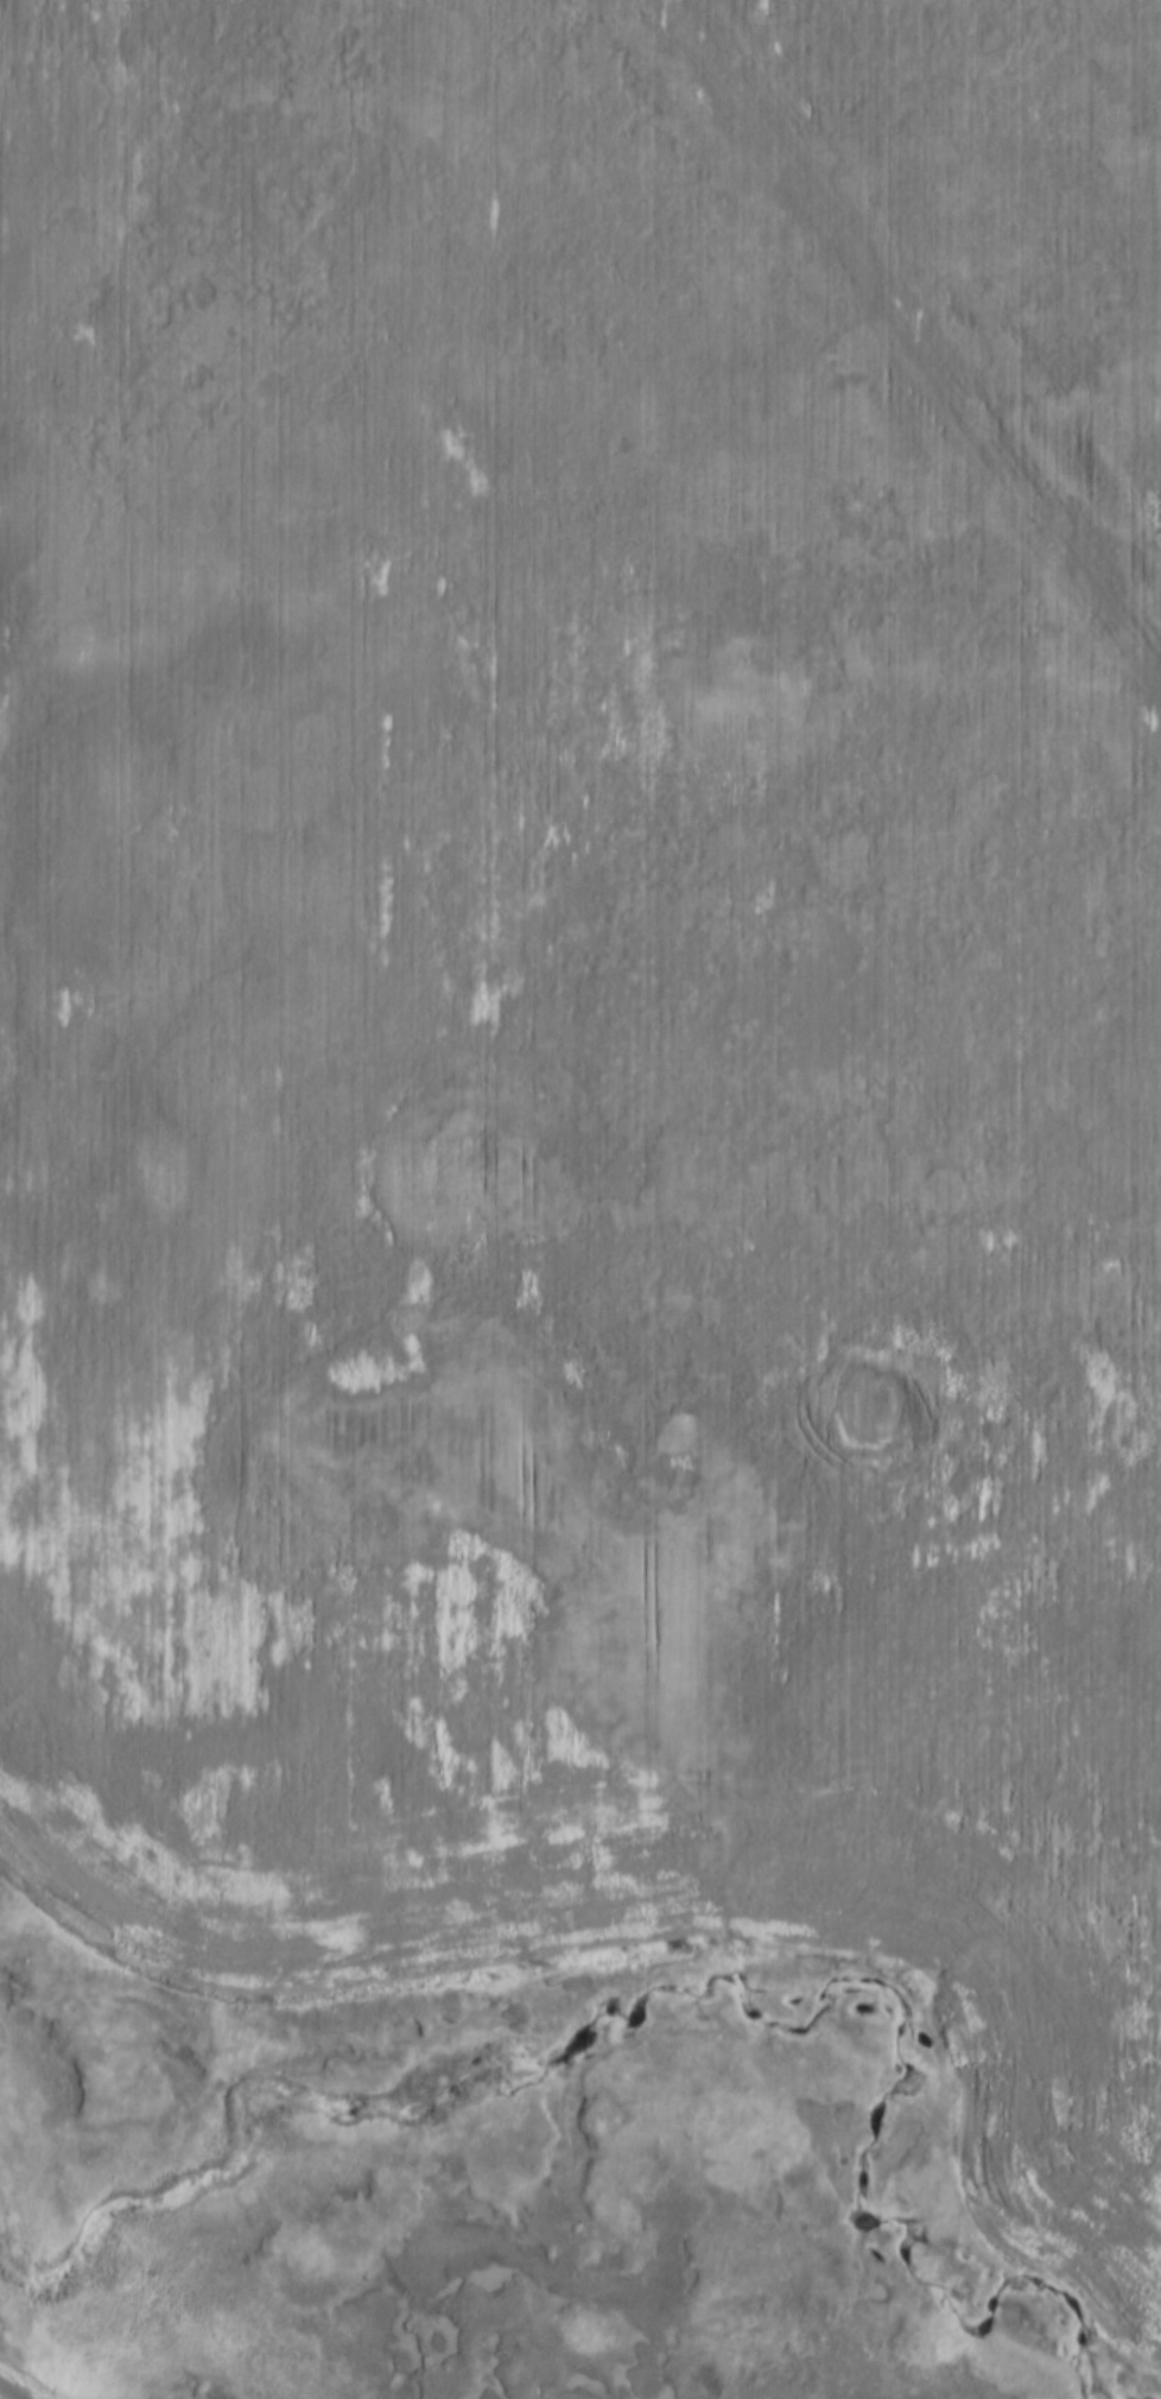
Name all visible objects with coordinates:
road: (913, 347)

